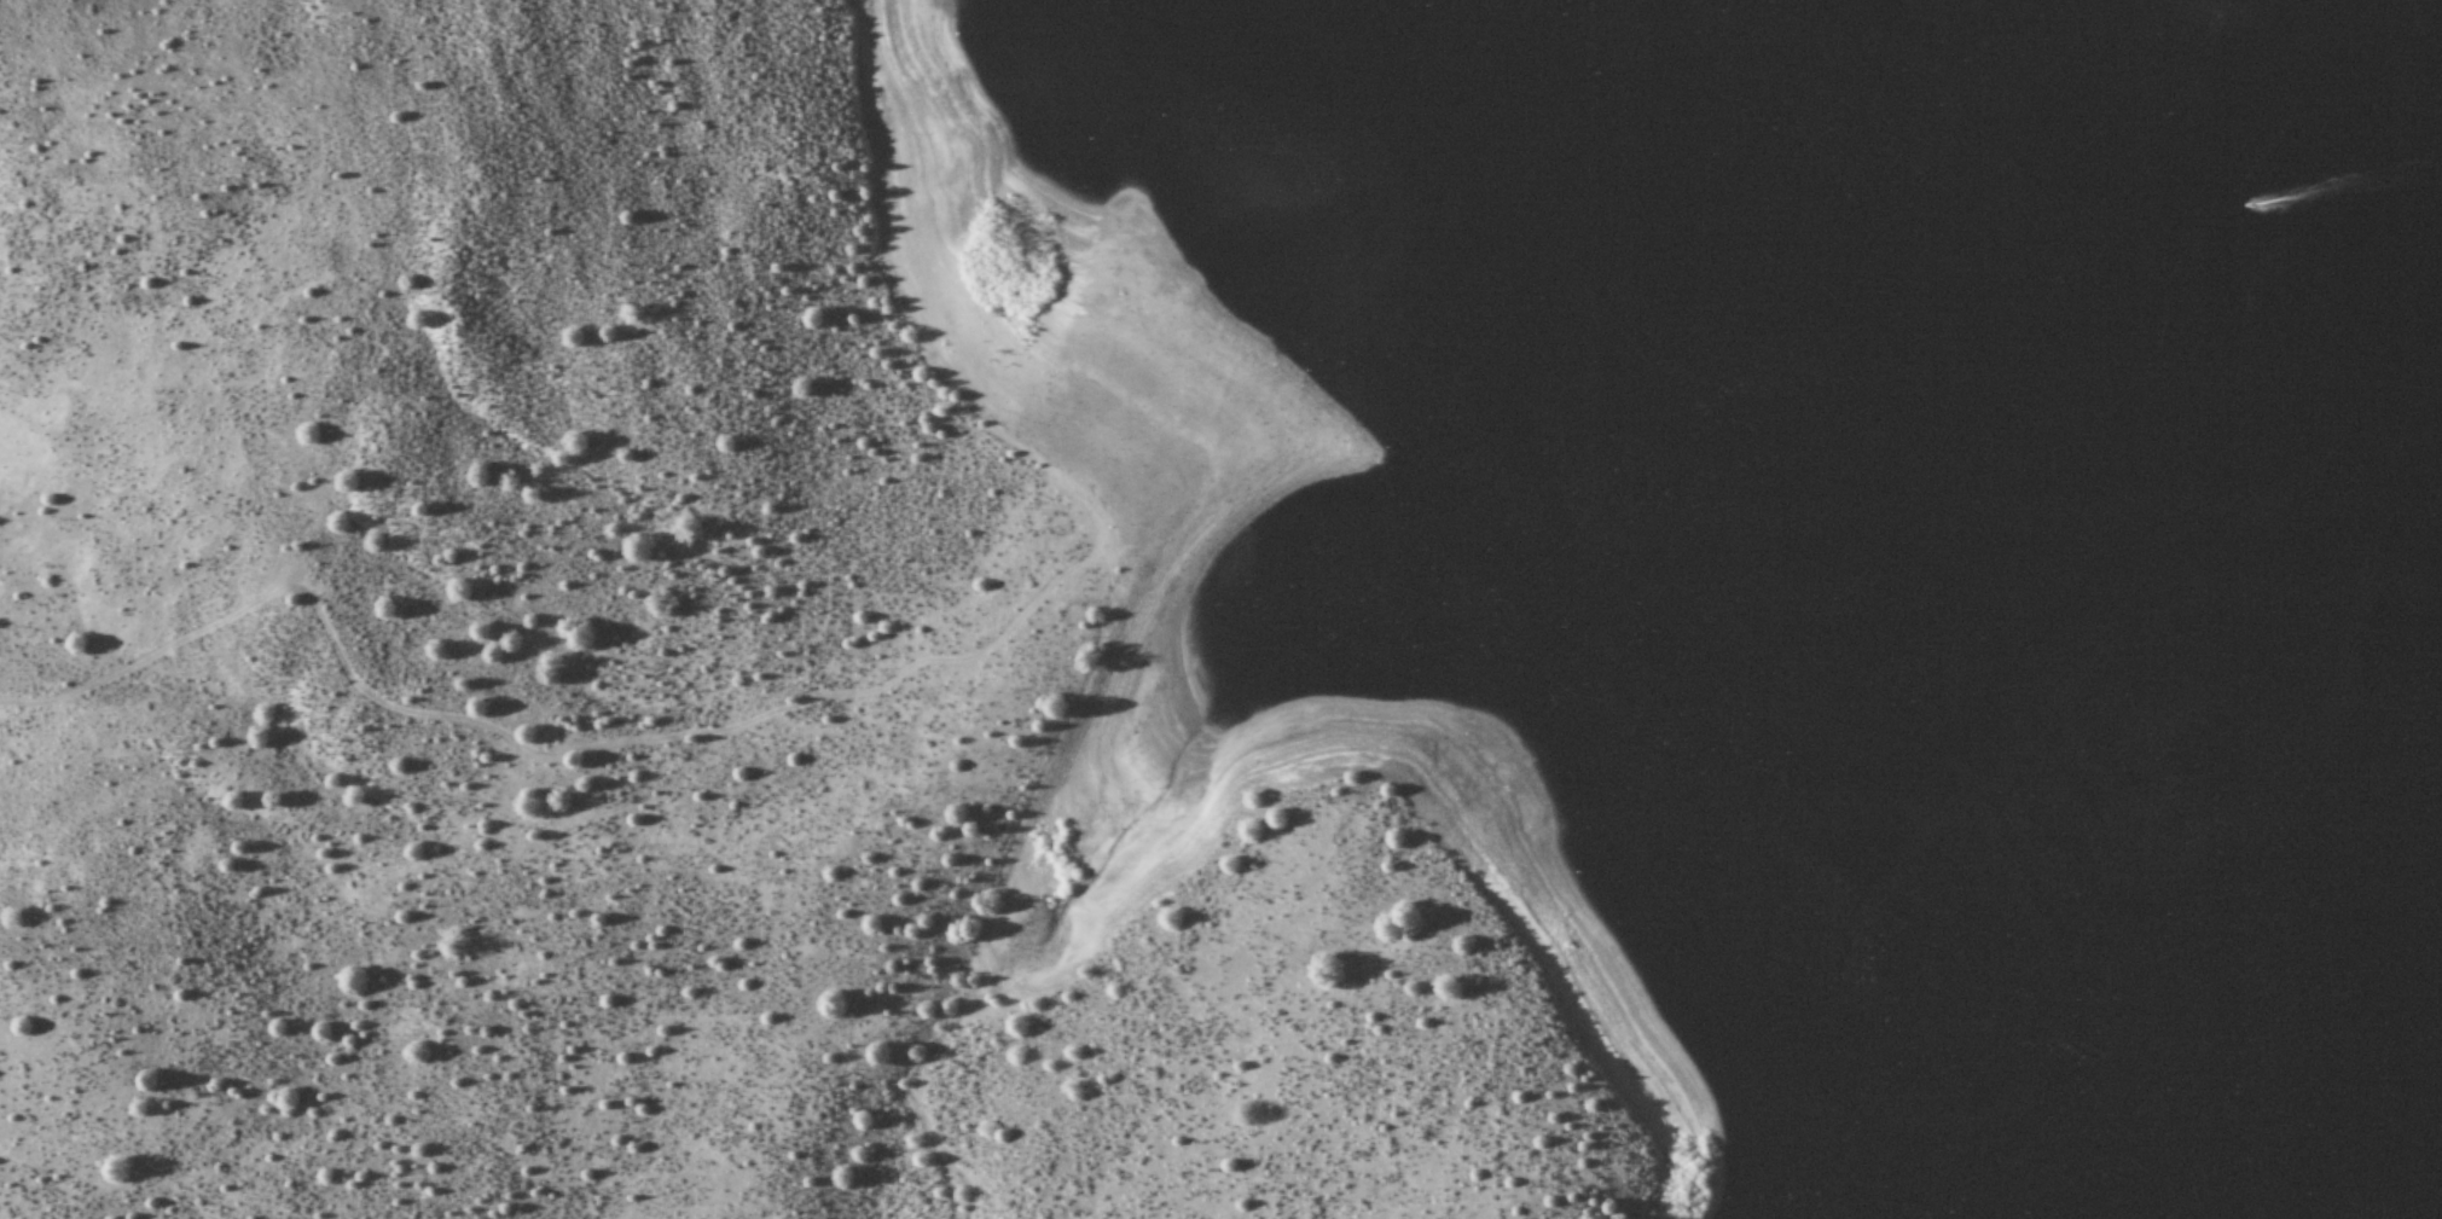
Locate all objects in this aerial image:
river: (2221, 542)

